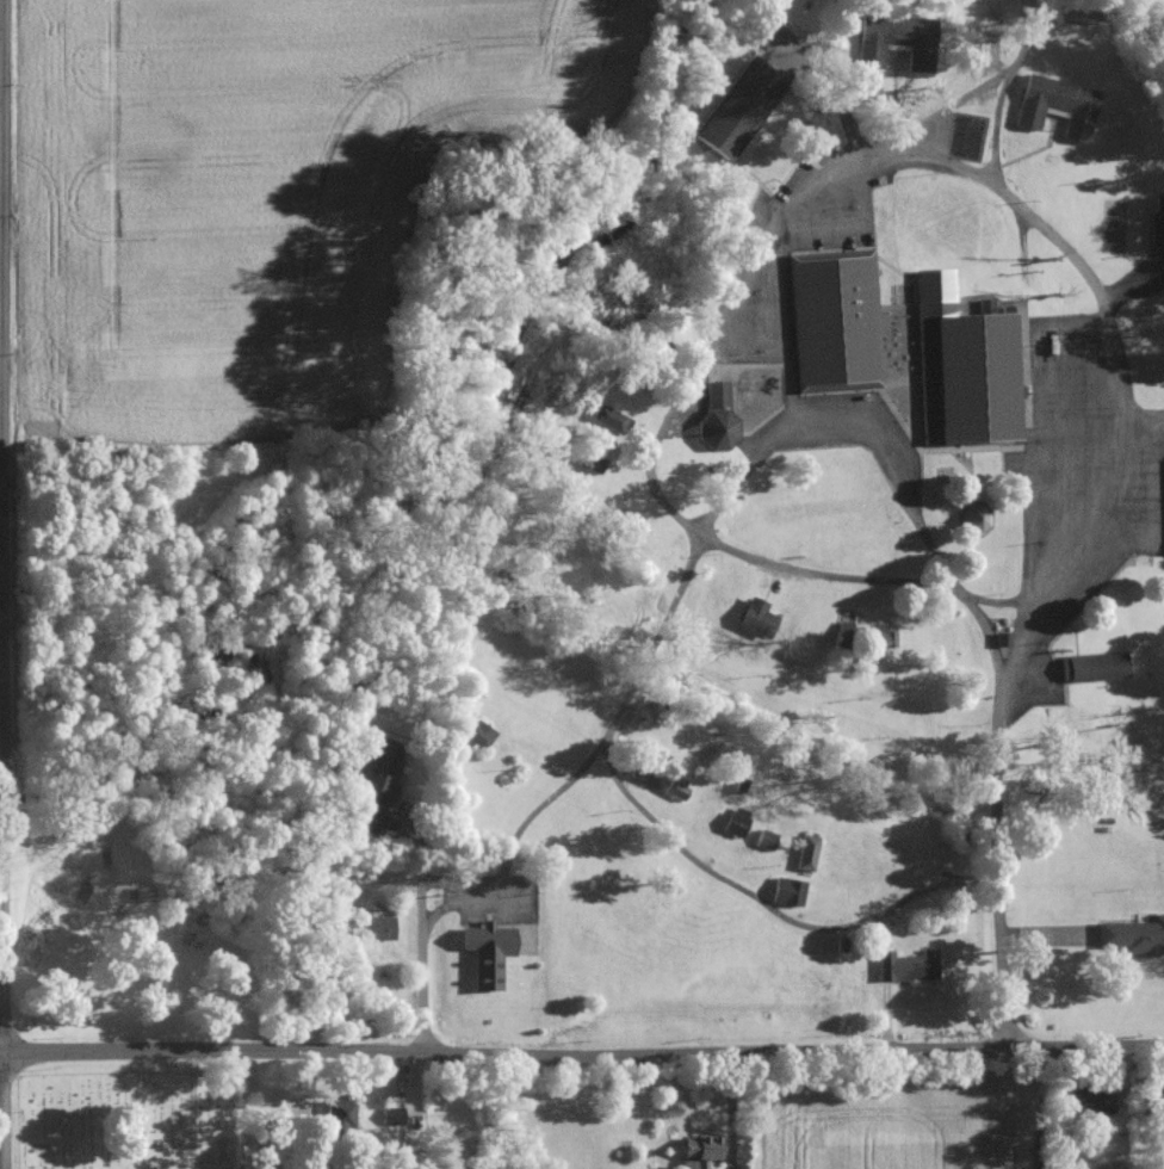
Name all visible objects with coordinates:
building: (898, 39)
building: (1059, 105)
building: (739, 109)
road: (960, 166)
building: (836, 320)
road: (787, 321)
building: (965, 366)
building: (718, 414)
road: (853, 416)
building: (612, 417)
road: (1144, 419)
building: (596, 463)
building: (976, 518)
road: (1, 525)
building: (757, 617)
building: (881, 636)
building: (1095, 666)
building: (479, 735)
road: (601, 746)
building: (379, 784)
building: (677, 790)
building: (737, 821)
road: (996, 829)
building: (767, 840)
building: (807, 852)
building: (790, 891)
road: (447, 895)
road: (774, 907)
building: (378, 927)
road: (422, 933)
building: (1134, 935)
building: (489, 953)
building: (910, 965)
road: (581, 1058)
building: (1091, 1101)
road: (193, 1108)
road: (2, 1109)
building: (340, 1113)
building: (704, 1149)

